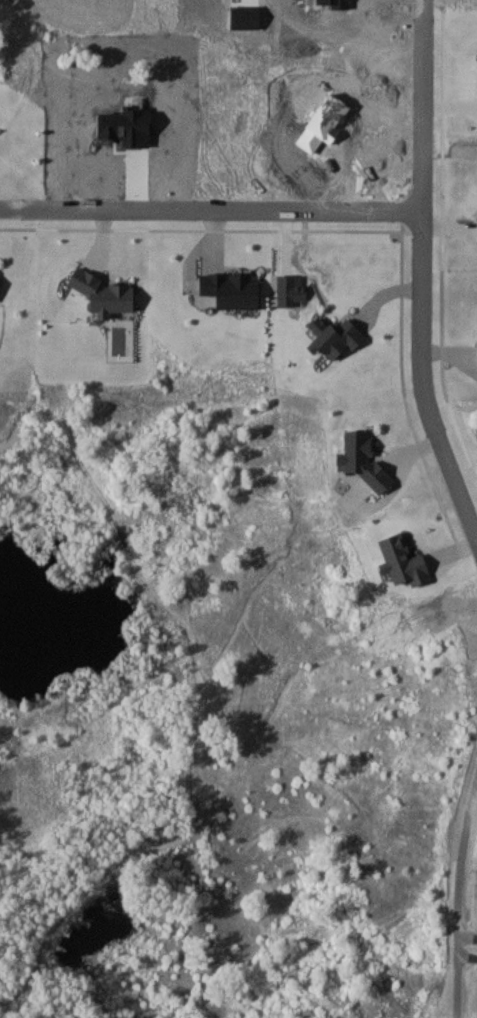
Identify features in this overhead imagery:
building: (337, 3)
building: (321, 122)
building: (124, 128)
road: (211, 209)
road: (202, 235)
road: (445, 243)
road: (422, 272)
road: (403, 282)
building: (227, 289)
building: (283, 289)
building: (104, 295)
building: (329, 336)
building: (476, 355)
building: (358, 459)
building: (399, 563)
road: (460, 894)
road: (468, 953)

